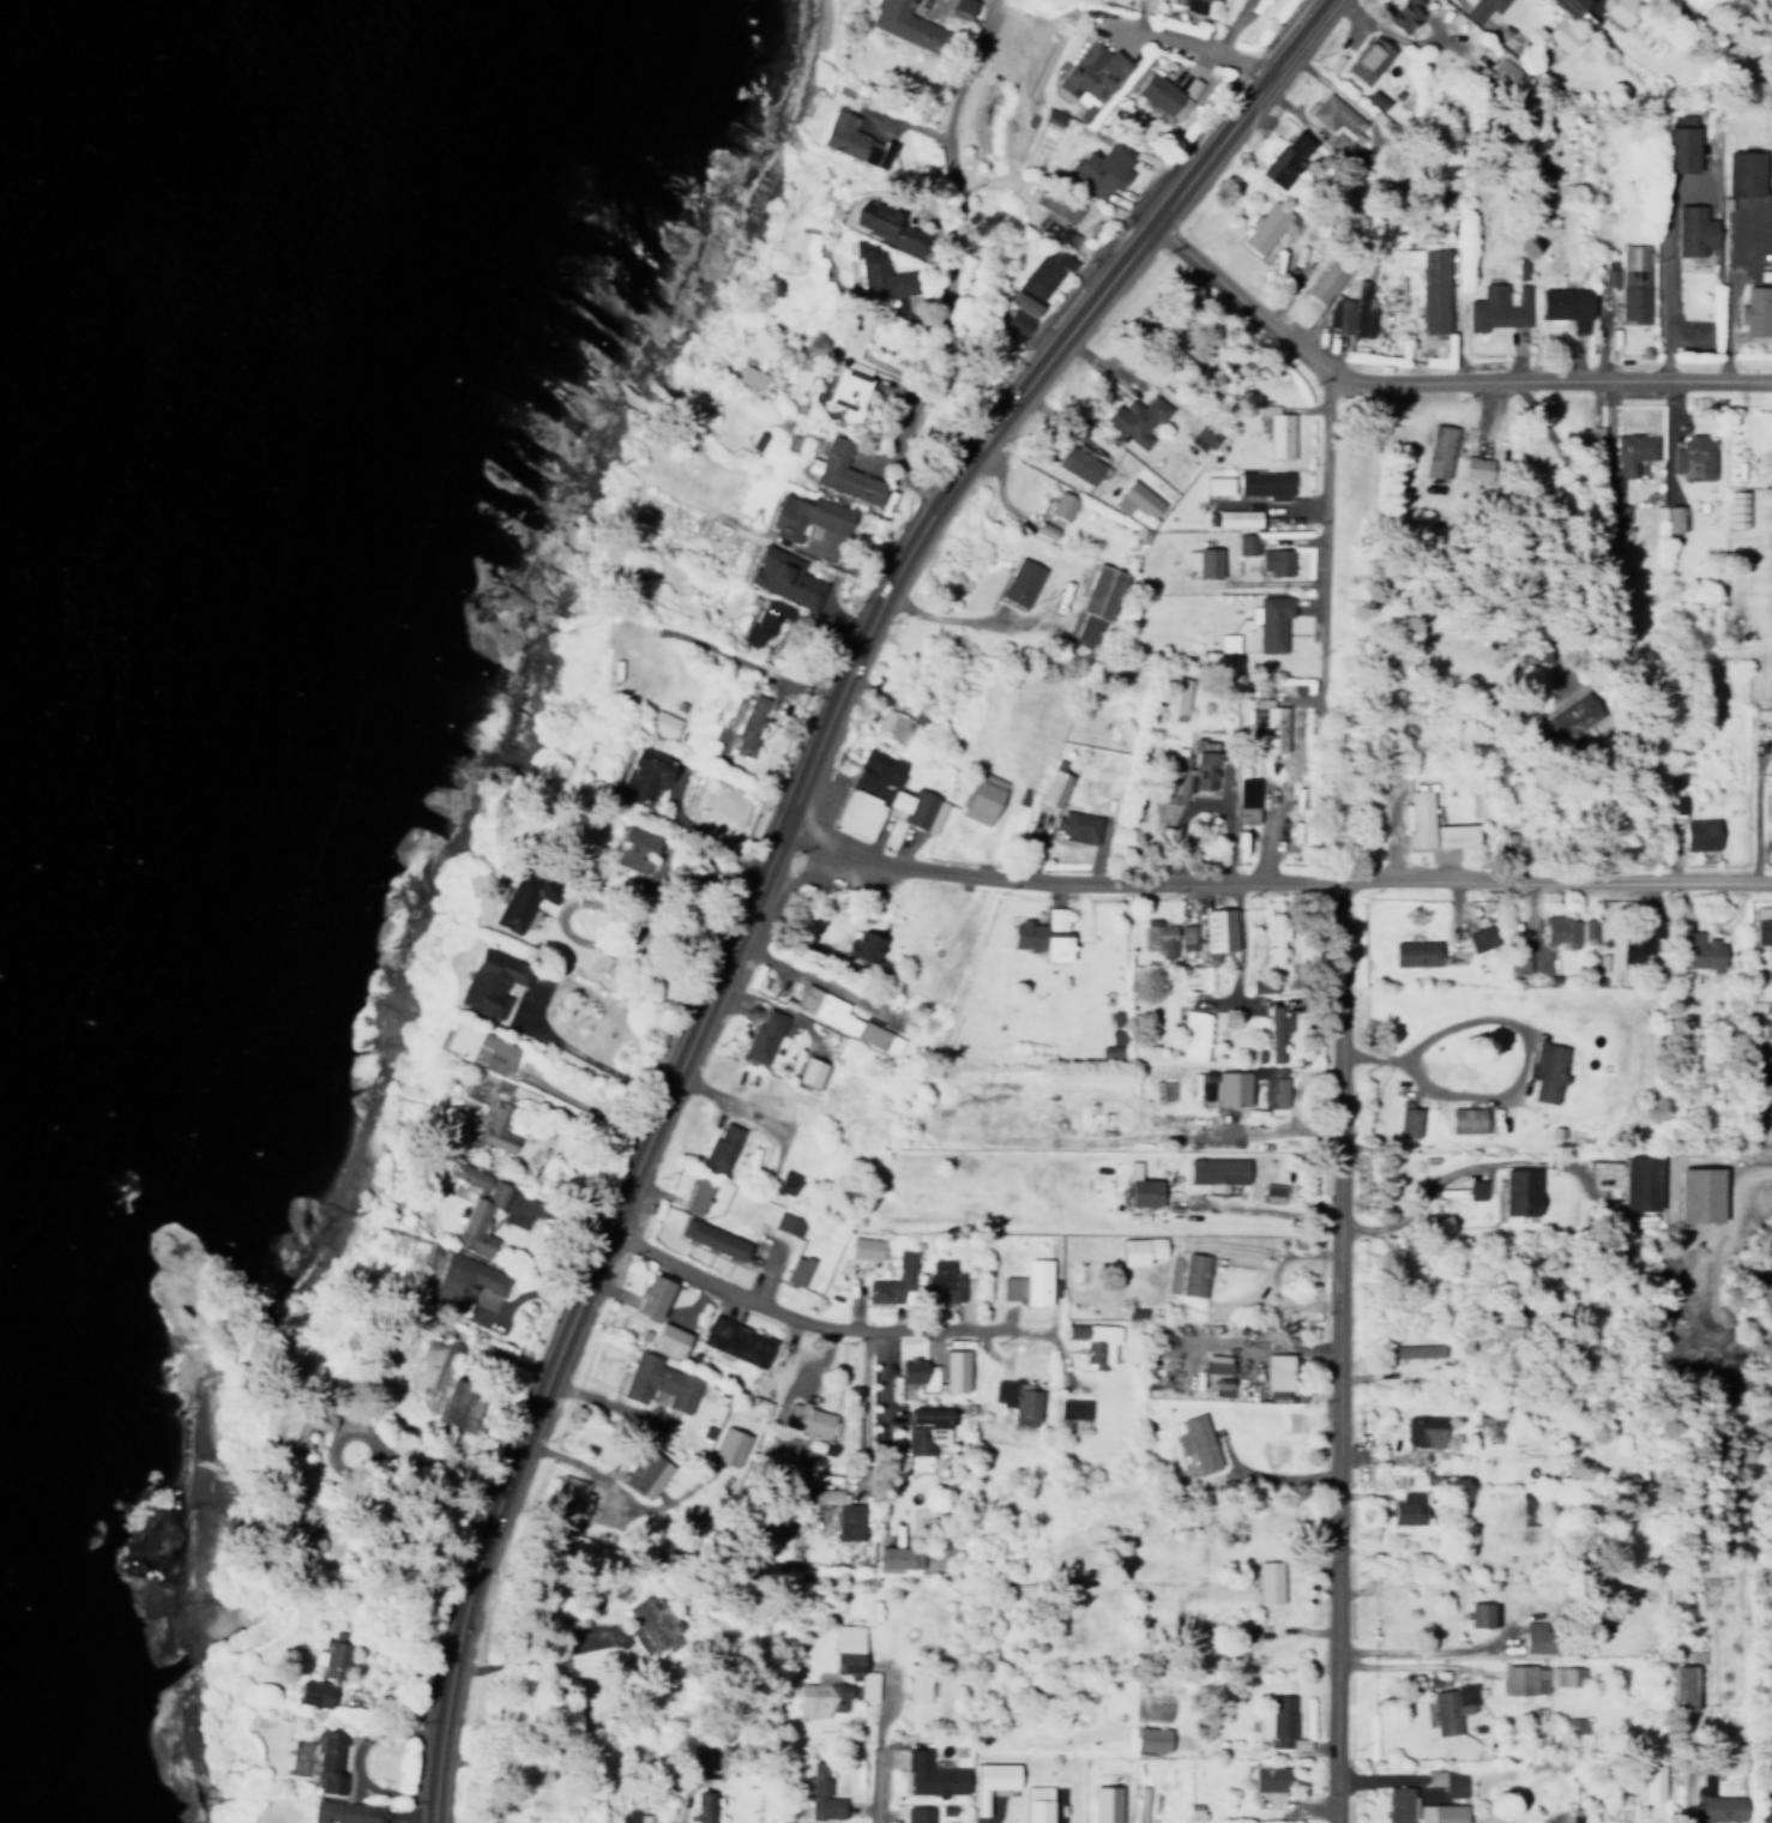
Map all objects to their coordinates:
building: (1188, 4)
building: (1568, 4)
building: (1479, 5)
building: (959, 7)
building: (1402, 11)
building: (1620, 12)
building: (905, 25)
building: (1562, 31)
building: (1511, 41)
road: (1191, 43)
building: (1368, 53)
building: (1091, 71)
building: (1507, 71)
building: (1161, 95)
road: (1237, 112)
building: (1051, 116)
building: (1338, 122)
building: (1676, 138)
building: (846, 139)
building: (1284, 156)
building: (1103, 168)
building: (1742, 168)
building: (1266, 224)
building: (1692, 224)
building: (890, 225)
road: (960, 266)
building: (1609, 269)
building: (881, 271)
building: (1043, 273)
building: (1325, 276)
building: (1633, 278)
building: (1434, 285)
road: (1665, 288)
road: (1455, 296)
road: (1241, 299)
building: (1566, 301)
building: (1496, 302)
building: (1024, 303)
building: (1354, 303)
building: (1756, 305)
building: (1015, 323)
building: (1695, 335)
road: (1554, 374)
building: (748, 377)
building: (850, 393)
building: (1134, 417)
building: (1276, 431)
building: (1203, 435)
building: (1442, 445)
building: (1694, 449)
building: (1628, 453)
building: (1476, 462)
building: (1080, 465)
building: (844, 471)
building: (1262, 477)
building: (1217, 485)
building: (1135, 499)
building: (1736, 504)
building: (1617, 509)
building: (1235, 512)
building: (1675, 513)
building: (808, 516)
road: (1577, 522)
building: (1617, 525)
road: (1326, 534)
building: (1244, 539)
building: (1274, 555)
building: (1207, 558)
building: (1020, 576)
building: (784, 578)
building: (1096, 598)
building: (1270, 616)
building: (758, 621)
building: (1226, 637)
building: (1537, 656)
building: (1180, 693)
building: (894, 717)
building: (663, 718)
building: (747, 720)
building: (1271, 720)
building: (1204, 765)
building: (640, 768)
building: (1167, 772)
building: (1053, 783)
building: (1247, 789)
building: (981, 793)
building: (882, 794)
building: (1420, 817)
building: (1075, 820)
building: (1699, 829)
building: (1458, 835)
building: (632, 842)
road: (1273, 876)
building: (522, 898)
building: (1055, 917)
building: (1758, 920)
building: (1217, 922)
building: (1186, 928)
building: (1559, 931)
building: (1157, 932)
building: (1276, 932)
building: (1478, 934)
road: (1237, 937)
building: (1039, 940)
building: (861, 941)
building: (1415, 947)
building: (1688, 947)
building: (1517, 955)
building: (1766, 957)
road: (814, 975)
building: (489, 981)
building: (1260, 986)
road: (711, 988)
road: (1272, 997)
building: (840, 1013)
building: (1277, 1027)
building: (761, 1031)
building: (1191, 1034)
building: (1770, 1039)
building: (477, 1047)
building: (1108, 1051)
building: (809, 1067)
building: (1547, 1071)
road: (1517, 1075)
building: (1271, 1079)
building: (1230, 1083)
building: (1162, 1090)
building: (1465, 1120)
building: (1409, 1121)
building: (488, 1125)
building: (719, 1144)
road: (1458, 1163)
building: (1216, 1165)
building: (785, 1177)
building: (1644, 1184)
building: (695, 1187)
building: (1140, 1187)
building: (1271, 1189)
building: (1475, 1190)
building: (1521, 1192)
building: (476, 1207)
road: (1276, 1207)
building: (785, 1222)
building: (717, 1237)
building: (1132, 1246)
building: (864, 1247)
building: (796, 1264)
building: (1193, 1269)
building: (465, 1278)
building: (892, 1280)
building: (1027, 1282)
building: (651, 1292)
road: (812, 1317)
building: (668, 1334)
building: (733, 1336)
building: (1092, 1341)
road: (1339, 1348)
building: (1417, 1350)
building: (1216, 1362)
building: (953, 1366)
building: (432, 1367)
road: (880, 1371)
building: (1276, 1372)
building: (657, 1377)
building: (910, 1377)
building: (1015, 1394)
road: (863, 1398)
building: (460, 1403)
building: (1072, 1403)
building: (806, 1414)
building: (1294, 1416)
building: (923, 1424)
building: (1424, 1430)
building: (1195, 1438)
building: (727, 1440)
building: (1274, 1450)
building: (644, 1469)
building: (786, 1470)
building: (585, 1493)
building: (1409, 1506)
building: (840, 1508)
building: (899, 1557)
building: (1270, 1581)
building: (645, 1613)
building: (1478, 1613)
building: (1537, 1636)
building: (331, 1651)
building: (1565, 1674)
building: (837, 1675)
building: (1519, 1678)
building: (917, 1686)
building: (1688, 1686)
building: (312, 1689)
building: (1452, 1707)
building: (1277, 1720)
building: (1151, 1738)
road: (876, 1750)
building: (326, 1756)
building: (705, 1757)
building: (932, 1775)
building: (1448, 1781)
building: (1653, 1782)
building: (1270, 1785)
building: (819, 1793)
building: (1719, 1803)
building: (1037, 1804)
building: (1104, 1804)
building: (1400, 1804)
building: (700, 1806)
road: (681, 1807)
building: (342, 1810)
building: (1441, 1812)
building: (916, 1813)
building: (631, 1816)

